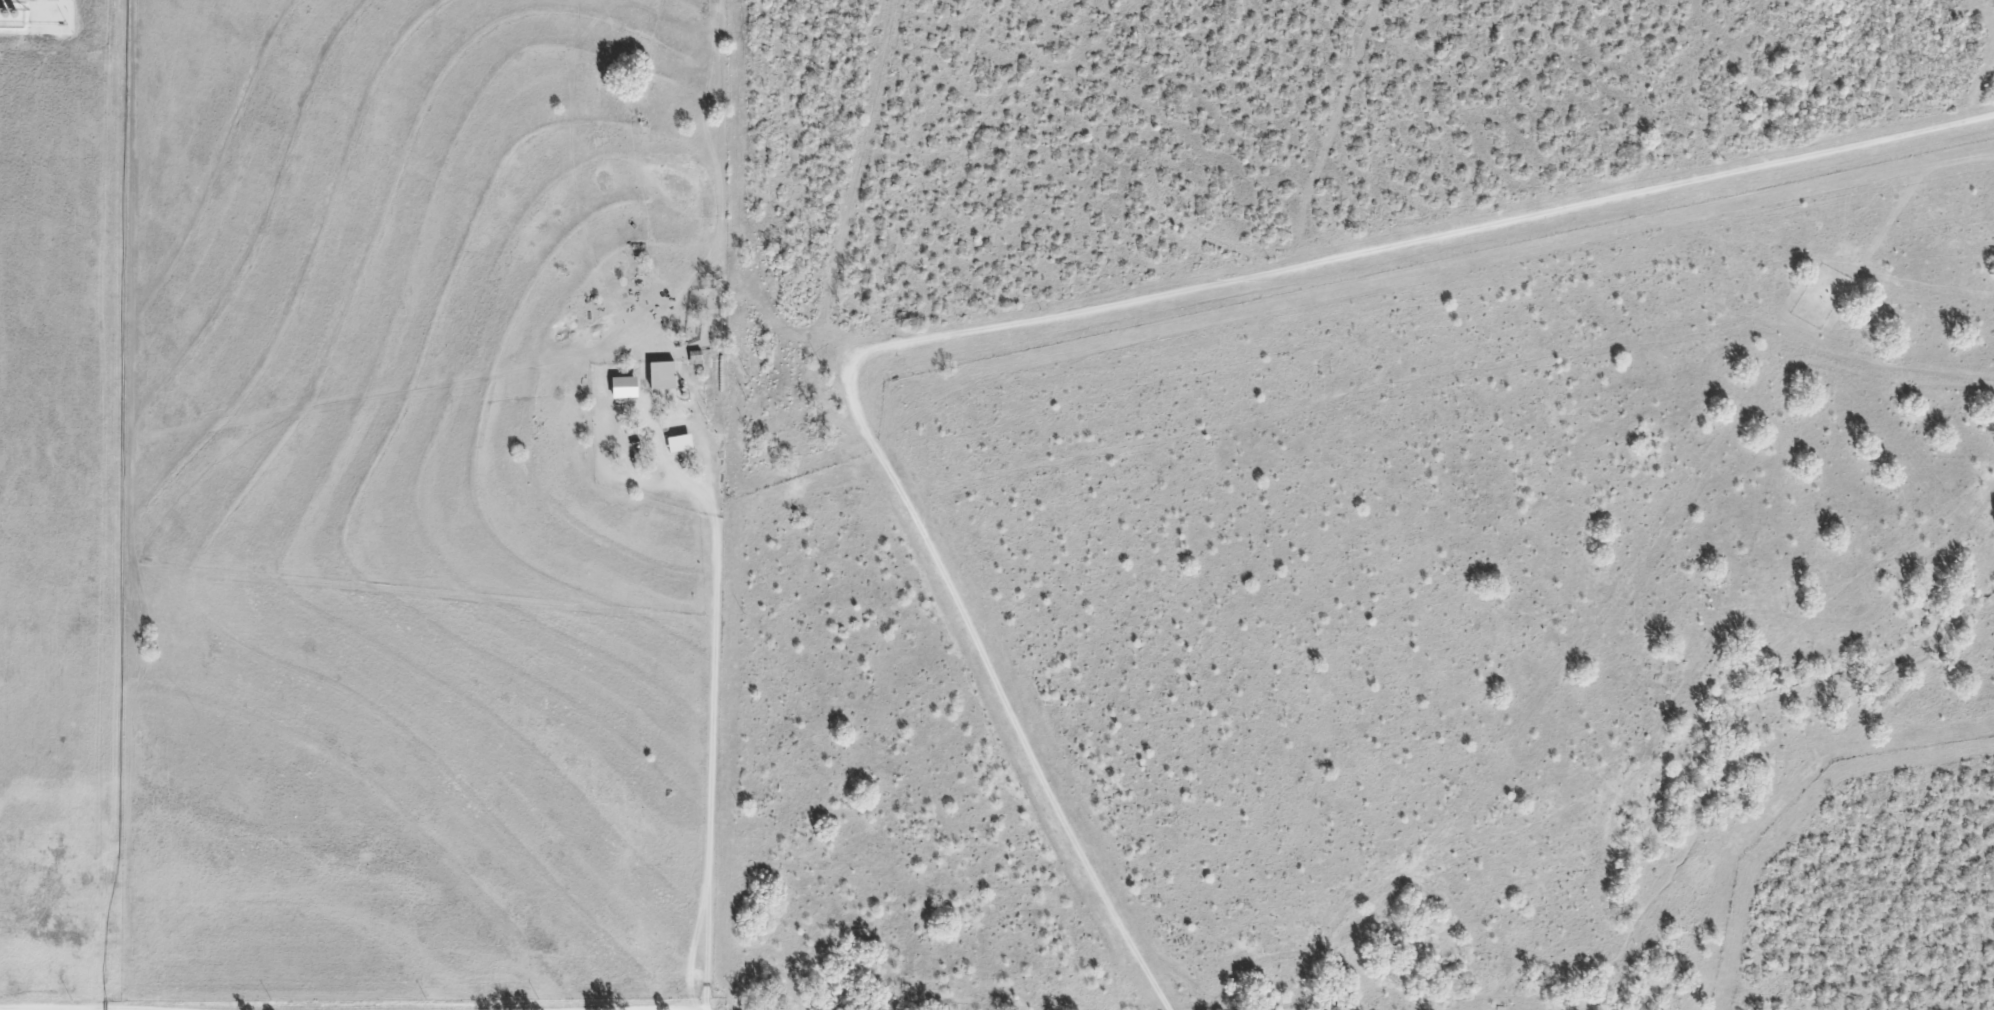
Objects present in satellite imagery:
road: (1064, 310)
building: (659, 374)
road: (715, 765)

